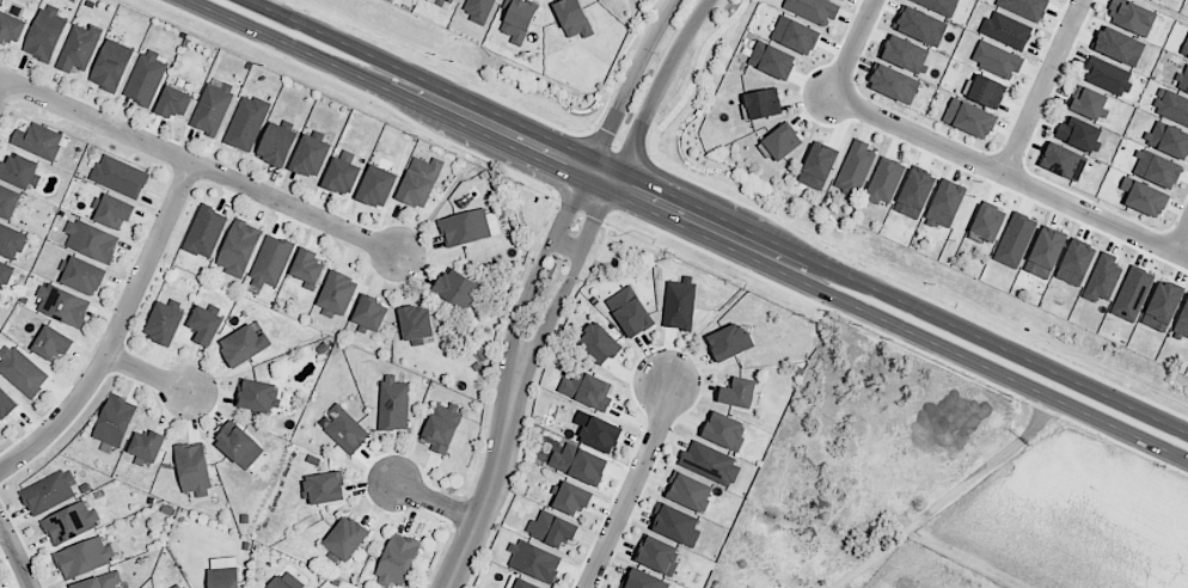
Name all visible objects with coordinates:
building: (841, 0)
building: (443, 2)
building: (938, 5)
building: (1024, 7)
building: (814, 8)
building: (478, 10)
building: (1131, 16)
building: (572, 18)
building: (518, 19)
building: (919, 25)
building: (11, 27)
building: (1006, 30)
building: (795, 35)
building: (43, 36)
building: (1117, 45)
road: (853, 48)
building: (78, 49)
building: (1184, 49)
building: (904, 53)
building: (771, 60)
building: (996, 60)
building: (112, 66)
building: (1108, 75)
building: (1182, 80)
building: (143, 81)
road: (630, 82)
building: (893, 84)
road: (2, 87)
road: (1042, 87)
road: (656, 88)
building: (986, 91)
building: (171, 103)
building: (761, 103)
building: (1089, 103)
building: (1171, 105)
building: (213, 109)
building: (968, 118)
building: (246, 123)
building: (1078, 133)
building: (1168, 140)
building: (39, 141)
building: (780, 141)
building: (275, 147)
building: (308, 157)
building: (1063, 161)
building: (817, 166)
road: (198, 167)
building: (855, 169)
building: (1156, 169)
traffic signals: (588, 170)
building: (19, 171)
building: (121, 177)
building: (339, 177)
road: (1009, 178)
building: (884, 180)
traffic signals: (613, 182)
building: (418, 183)
building: (375, 189)
building: (914, 194)
building: (1144, 197)
building: (7, 203)
road: (571, 203)
building: (944, 204)
building: (111, 213)
road: (598, 216)
road: (703, 222)
building: (987, 222)
building: (461, 228)
building: (204, 233)
road: (1181, 235)
building: (10, 241)
building: (1014, 241)
building: (92, 243)
road: (569, 244)
building: (238, 249)
building: (1045, 253)
building: (272, 263)
building: (1076, 263)
building: (306, 269)
building: (4, 274)
building: (81, 276)
building: (1102, 277)
building: (457, 290)
building: (337, 293)
building: (1132, 294)
building: (679, 304)
building: (1162, 306)
building: (65, 308)
building: (625, 311)
building: (369, 314)
road: (519, 317)
building: (1183, 319)
building: (163, 323)
building: (203, 325)
building: (414, 325)
road: (546, 327)
road: (116, 333)
building: (593, 341)
building: (724, 342)
building: (47, 345)
building: (243, 345)
building: (20, 372)
road: (151, 373)
building: (586, 388)
building: (735, 391)
building: (256, 397)
building: (5, 404)
building: (394, 406)
building: (115, 422)
building: (441, 428)
building: (721, 428)
building: (347, 429)
building: (599, 431)
building: (147, 446)
building: (234, 446)
building: (706, 460)
building: (576, 463)
building: (192, 467)
road: (631, 484)
building: (320, 486)
building: (688, 490)
building: (47, 492)
road: (954, 492)
building: (571, 496)
road: (486, 498)
road: (436, 501)
building: (672, 521)
building: (67, 525)
building: (552, 526)
building: (344, 541)
building: (655, 552)
road: (17, 555)
building: (81, 559)
building: (397, 559)
building: (531, 561)
building: (222, 578)
building: (638, 580)
building: (97, 583)
building: (277, 583)
building: (522, 583)
building: (183, 587)

